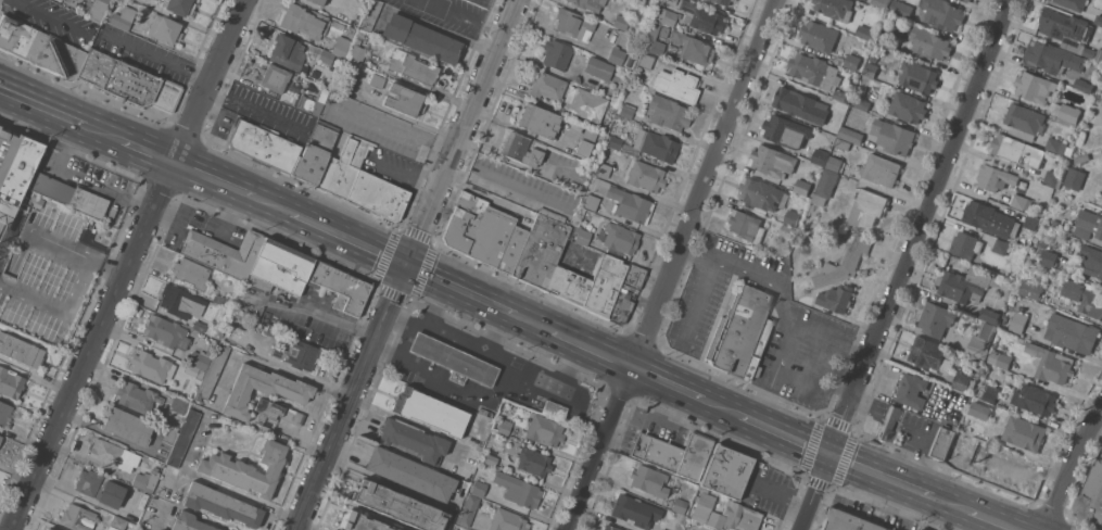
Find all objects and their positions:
building: (735, 0)
building: (318, 1)
building: (967, 1)
building: (724, 2)
building: (590, 3)
building: (881, 3)
building: (1073, 4)
building: (179, 5)
building: (98, 8)
building: (835, 8)
building: (901, 9)
building: (941, 13)
road: (48, 15)
building: (370, 15)
building: (692, 15)
road: (461, 16)
building: (124, 17)
building: (304, 21)
building: (1098, 21)
building: (621, 22)
building: (574, 24)
building: (165, 28)
building: (350, 30)
building: (663, 30)
building: (1068, 30)
building: (866, 31)
building: (819, 35)
building: (421, 38)
building: (1097, 38)
building: (654, 40)
building: (888, 42)
building: (929, 43)
building: (340, 46)
building: (357, 47)
building: (40, 48)
building: (693, 48)
building: (288, 52)
road: (159, 54)
building: (556, 54)
building: (1099, 54)
building: (616, 55)
building: (327, 56)
building: (1052, 58)
building: (651, 62)
building: (852, 62)
building: (414, 67)
building: (598, 67)
building: (871, 70)
building: (814, 71)
building: (346, 76)
building: (919, 76)
building: (276, 77)
building: (377, 80)
building: (128, 81)
building: (677, 85)
building: (1084, 85)
building: (547, 86)
building: (1034, 86)
building: (840, 96)
building: (404, 99)
building: (314, 101)
building: (585, 102)
building: (861, 103)
building: (801, 104)
building: (840, 106)
building: (907, 106)
road: (41, 109)
road: (255, 110)
building: (626, 110)
building: (1066, 112)
building: (667, 113)
building: (539, 121)
building: (1024, 122)
building: (0, 126)
building: (786, 131)
building: (850, 135)
road: (102, 136)
building: (894, 136)
building: (586, 141)
building: (615, 141)
building: (843, 143)
building: (656, 144)
building: (1055, 144)
building: (265, 146)
building: (522, 149)
building: (1016, 150)
building: (1068, 151)
road: (147, 155)
building: (314, 155)
building: (820, 156)
building: (1080, 159)
building: (772, 161)
building: (836, 161)
building: (584, 165)
building: (603, 169)
building: (881, 169)
building: (14, 171)
building: (644, 175)
road: (405, 176)
building: (996, 178)
building: (1053, 178)
building: (1074, 178)
building: (360, 181)
road: (212, 184)
building: (802, 187)
building: (825, 187)
road: (504, 189)
building: (761, 193)
building: (69, 195)
building: (36, 200)
building: (591, 201)
building: (1021, 202)
building: (630, 204)
building: (1101, 206)
road: (270, 209)
building: (867, 209)
building: (791, 217)
building: (990, 218)
building: (1030, 222)
building: (1055, 223)
building: (1088, 224)
building: (745, 226)
building: (786, 230)
building: (485, 232)
building: (580, 235)
building: (620, 238)
building: (1024, 239)
road: (346, 242)
building: (965, 244)
building: (1001, 245)
building: (541, 250)
road: (79, 252)
building: (225, 252)
road: (695, 256)
building: (1049, 257)
building: (1092, 261)
building: (844, 263)
road: (125, 264)
road: (405, 265)
road: (670, 265)
road: (904, 265)
building: (279, 268)
traffic signals: (404, 268)
building: (191, 273)
road: (746, 274)
building: (633, 277)
building: (590, 285)
building: (965, 285)
building: (340, 287)
building: (1030, 289)
road: (458, 292)
building: (1085, 296)
building: (836, 298)
building: (219, 300)
building: (181, 301)
road: (698, 302)
road: (62, 308)
building: (620, 308)
road: (322, 315)
building: (989, 315)
building: (936, 318)
building: (1018, 323)
road: (531, 325)
building: (199, 326)
road: (491, 330)
building: (166, 332)
building: (217, 333)
building: (742, 333)
building: (1072, 333)
building: (275, 335)
road: (828, 338)
building: (981, 340)
road: (409, 341)
building: (211, 349)
building: (21, 350)
road: (588, 350)
road: (490, 351)
building: (927, 353)
building: (297, 354)
road: (781, 356)
building: (200, 359)
road: (256, 359)
building: (1000, 359)
building: (454, 361)
building: (1051, 364)
building: (150, 365)
building: (194, 370)
building: (212, 371)
building: (962, 381)
building: (11, 382)
road: (452, 382)
road: (664, 384)
building: (912, 391)
building: (266, 394)
building: (991, 394)
building: (138, 397)
building: (1035, 399)
building: (178, 404)
road: (720, 407)
building: (554, 408)
building: (980, 409)
building: (430, 411)
building: (485, 412)
road: (577, 412)
building: (5, 413)
road: (312, 413)
building: (890, 422)
building: (128, 426)
building: (505, 426)
building: (974, 428)
building: (545, 430)
building: (1024, 433)
road: (784, 434)
building: (170, 437)
building: (1, 438)
building: (183, 438)
building: (414, 439)
building: (942, 442)
building: (673, 453)
traffic signals: (828, 454)
building: (113, 455)
building: (491, 459)
building: (534, 462)
building: (248, 468)
road: (1068, 469)
building: (726, 471)
building: (410, 474)
road: (881, 476)
road: (178, 478)
building: (147, 480)
building: (649, 480)
building: (88, 482)
road: (214, 485)
building: (479, 488)
building: (518, 489)
building: (111, 493)
building: (1092, 494)
road: (778, 495)
building: (221, 504)
road: (950, 504)
building: (679, 505)
building: (398, 506)
building: (468, 510)
building: (635, 510)
building: (724, 514)
building: (78, 517)
building: (508, 520)
road: (992, 520)
building: (360, 521)
building: (849, 521)
building: (190, 522)
building: (117, 523)
building: (610, 527)
building: (45, 529)
building: (662, 529)
building: (925, 529)

